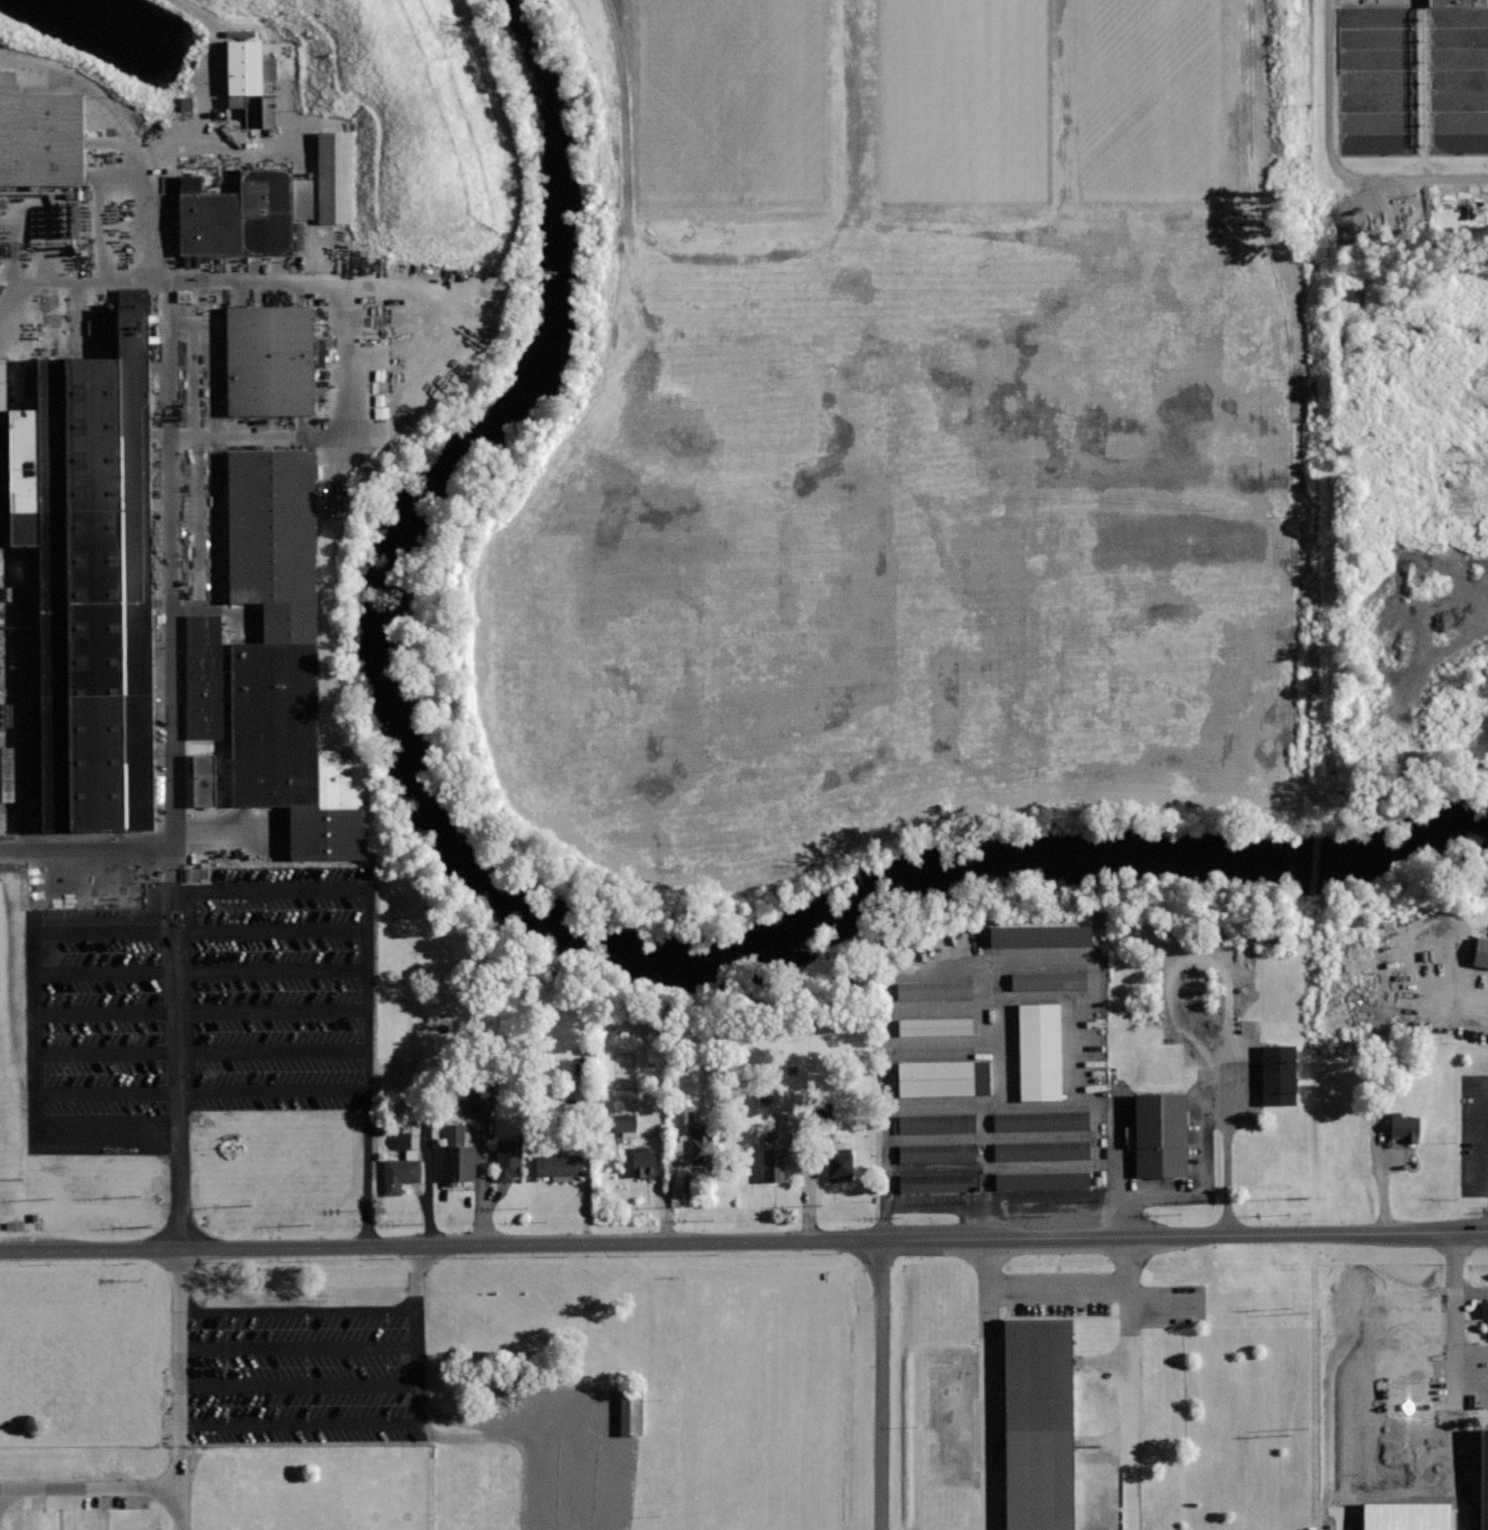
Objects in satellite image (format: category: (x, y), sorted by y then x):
building: (1451, 2)
building: (246, 73)
building: (1412, 79)
storage tank: (1412, 79)
building: (184, 104)
park: (955, 105)
park: (1173, 105)
park: (728, 108)
building: (31, 136)
road: (1333, 162)
building: (334, 178)
building: (240, 217)
road: (230, 277)
building: (276, 363)
building: (0, 378)
wastewater plant: (1393, 399)
building: (88, 573)
road: (1408, 629)
building: (278, 665)
road: (21, 696)
road: (171, 754)
building: (5, 774)
building: (198, 778)
road: (86, 849)
building: (193, 873)
road: (270, 888)
river: (519, 900)
road: (202, 926)
road: (1424, 927)
building: (1040, 934)
building: (1481, 952)
road: (999, 954)
road: (1187, 958)
road: (202, 971)
building: (1049, 980)
road: (366, 988)
building: (934, 990)
parking lot: (196, 1006)
road: (1485, 1012)
road: (203, 1013)
road: (38, 1025)
building: (935, 1026)
road: (998, 1029)
building: (1040, 1051)
road: (202, 1052)
building: (1279, 1074)
building: (943, 1077)
parking lot: (994, 1083)
road: (202, 1089)
building: (469, 1094)
road: (1258, 1095)
road: (1041, 1103)
building: (681, 1116)
parking lot: (1236, 1117)
building: (818, 1119)
road: (985, 1121)
building: (1041, 1121)
road: (108, 1122)
building: (936, 1123)
building: (623, 1125)
building: (1406, 1125)
building: (1161, 1134)
parking lot: (1474, 1137)
building: (701, 1147)
building: (837, 1147)
building: (1042, 1149)
road: (1226, 1149)
building: (937, 1153)
parking lot: (1120, 1156)
building: (457, 1157)
building: (509, 1159)
road: (1119, 1159)
building: (642, 1161)
building: (773, 1162)
building: (841, 1164)
building: (559, 1165)
building: (402, 1166)
road: (367, 1168)
road: (1202, 1174)
road: (1384, 1177)
building: (1042, 1180)
building: (937, 1182)
road: (991, 1206)
road: (744, 1242)
road: (1456, 1264)
road: (1058, 1295)
road: (1472, 1296)
road: (1167, 1309)
road: (298, 1310)
building: (1483, 1310)
road: (1456, 1339)
road: (299, 1343)
parking lot: (1462, 1349)
road: (1100, 1361)
park: (743, 1365)
parking lot: (293, 1373)
road: (300, 1383)
road: (1130, 1383)
road: (986, 1384)
road: (881, 1385)
park: (657, 1386)
parking lot: (1064, 1391)
road: (1456, 1396)
building: (629, 1412)
road: (301, 1420)
building: (1037, 1423)
road: (430, 1429)
road: (1101, 1443)
parking lot: (573, 1457)
building: (1485, 1480)
park: (746, 1487)
road: (91, 1488)
parking lot: (886, 1528)

